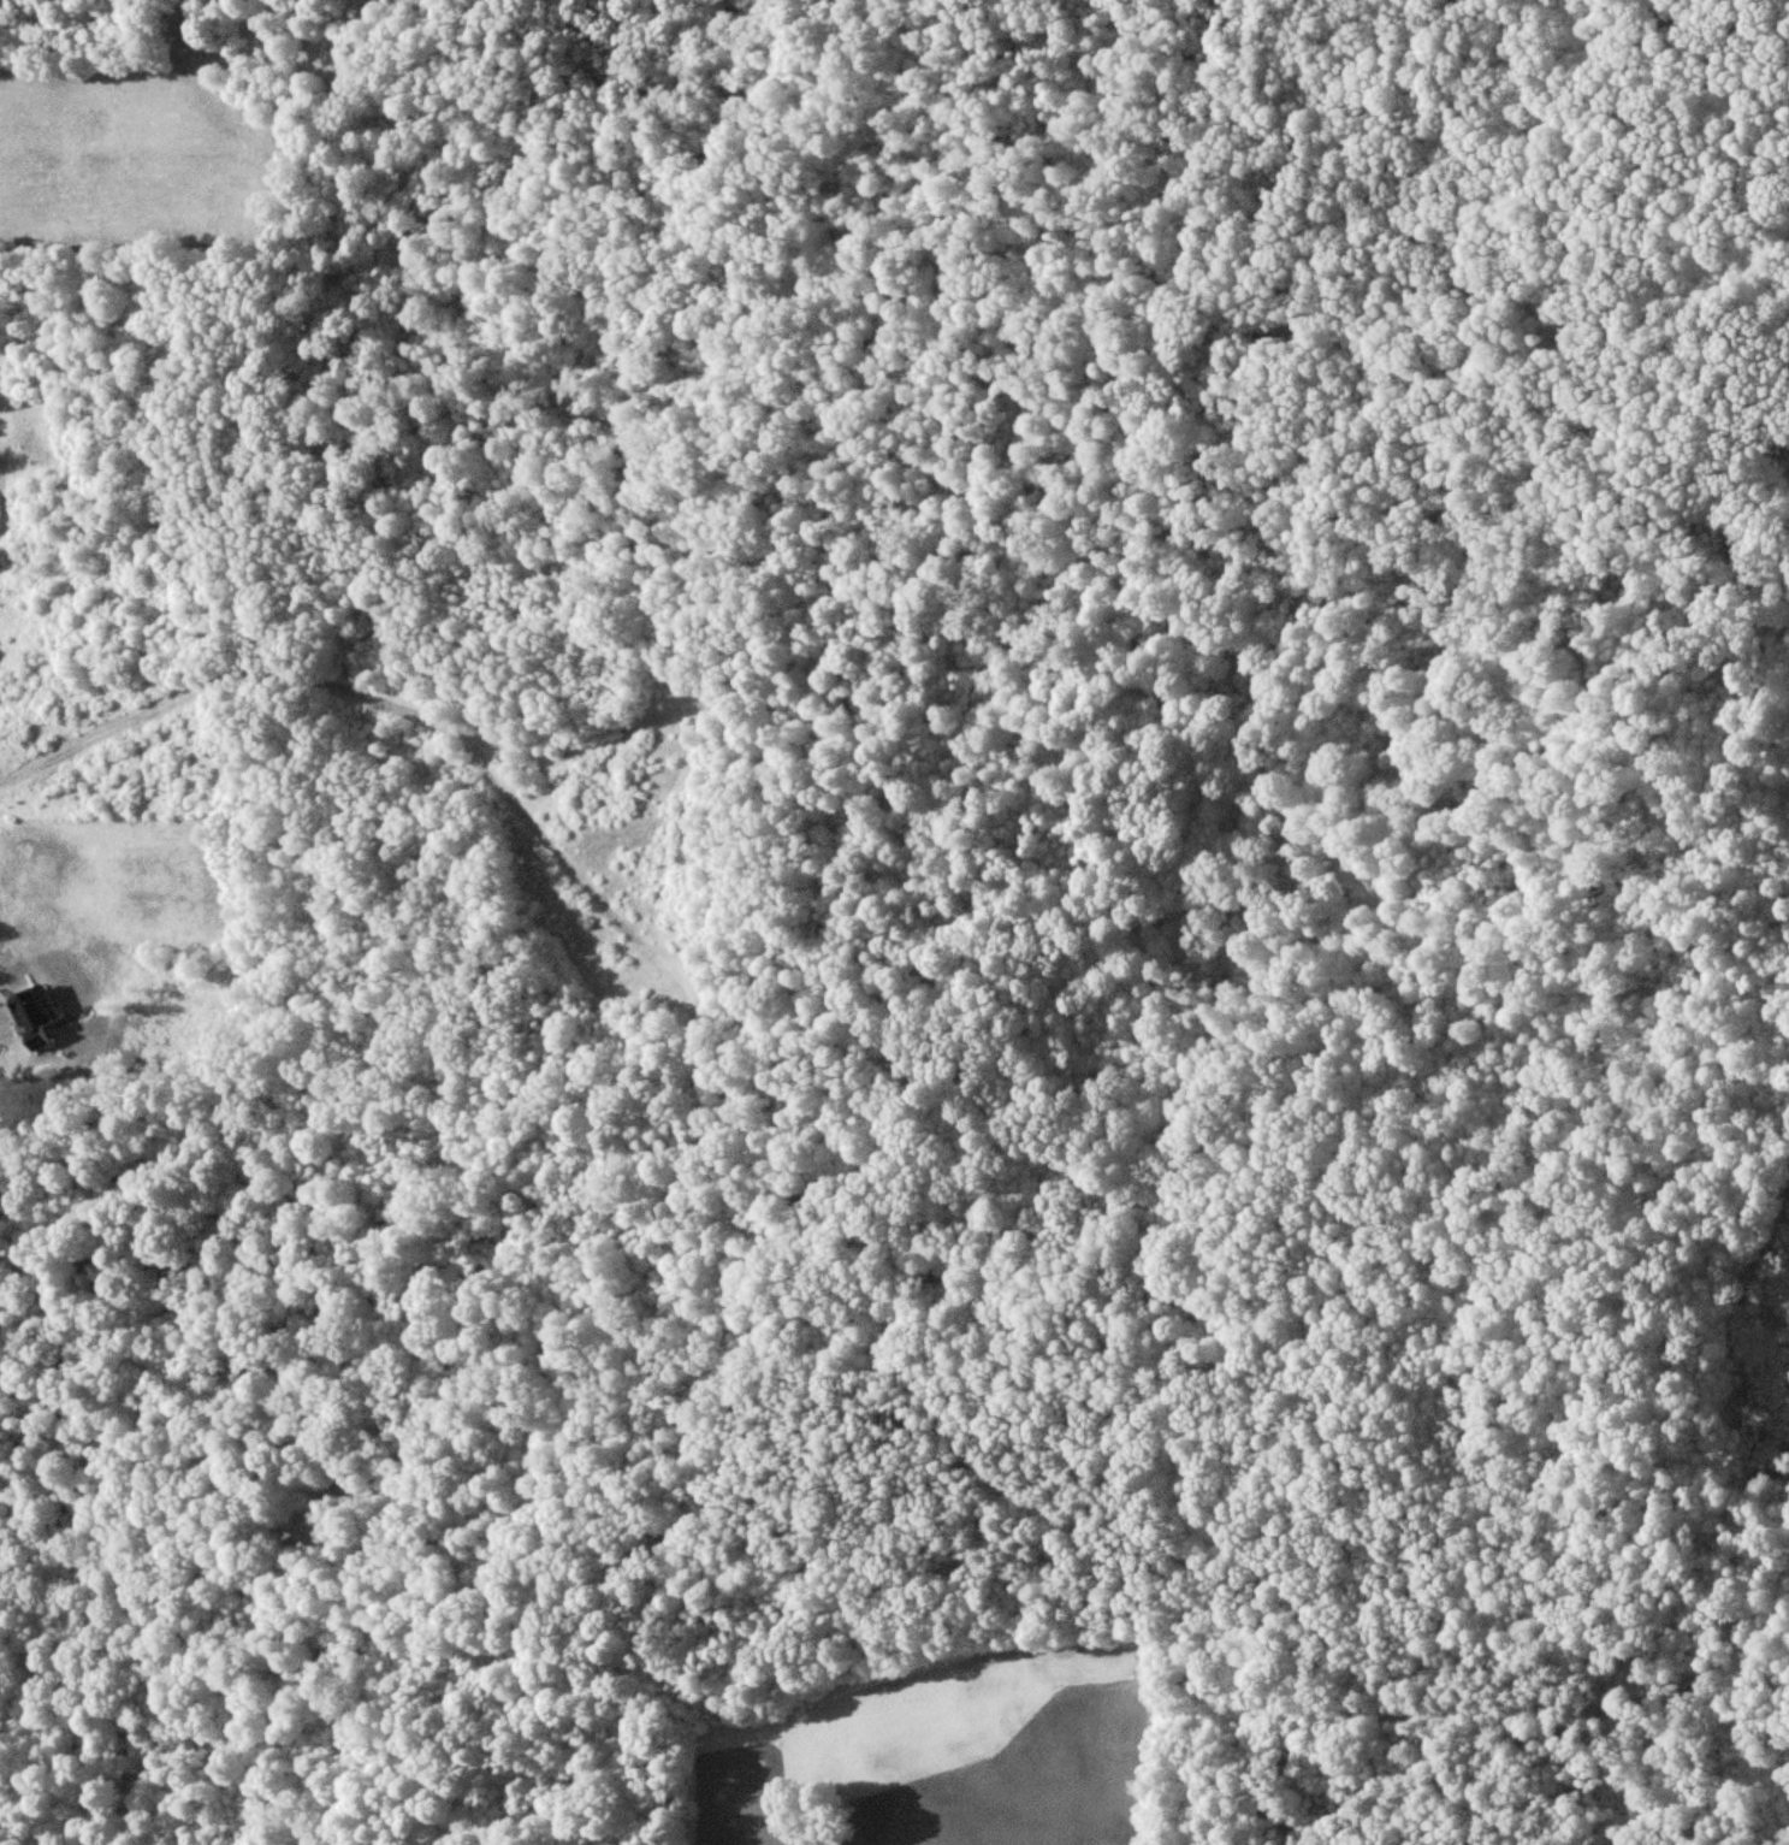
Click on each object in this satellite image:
building: (22, 1037)

